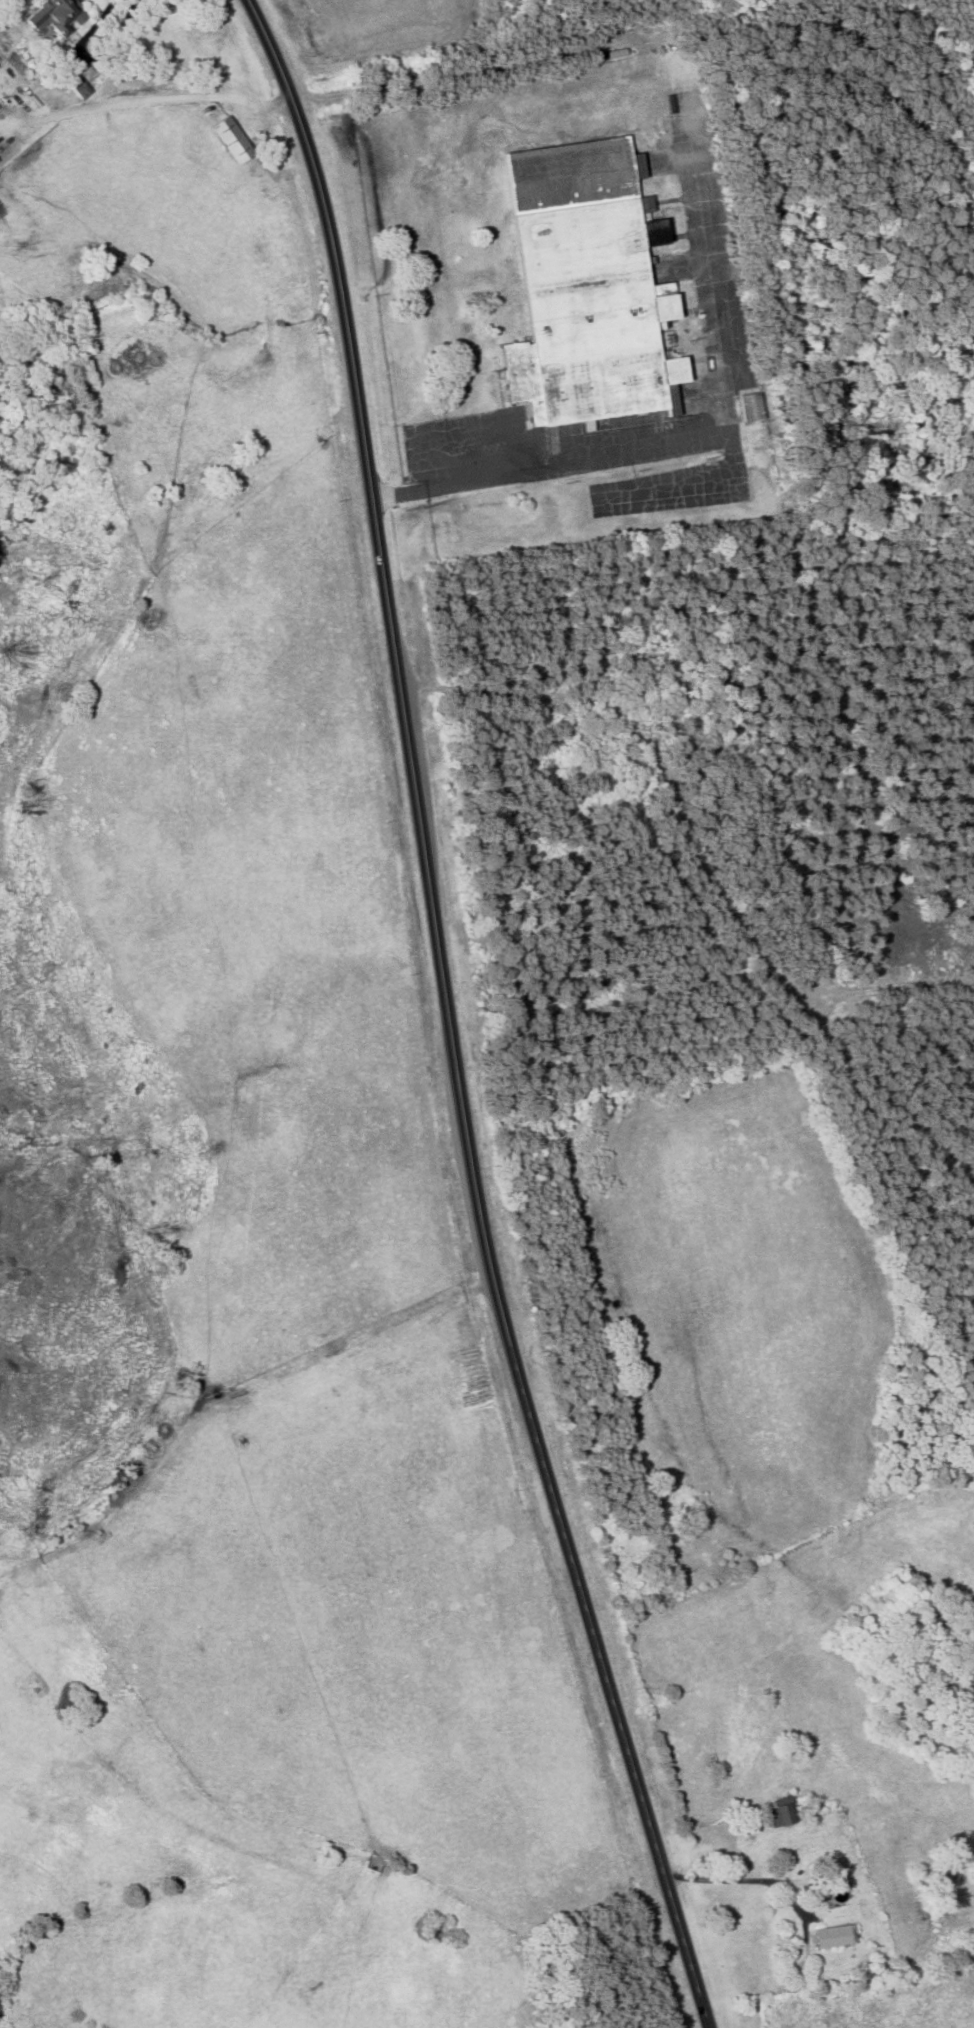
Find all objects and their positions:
building: (58, 16)
building: (234, 140)
building: (0, 161)
building: (588, 286)
road: (542, 470)
road: (449, 1019)
building: (785, 1811)
road: (735, 1879)
building: (834, 1936)

